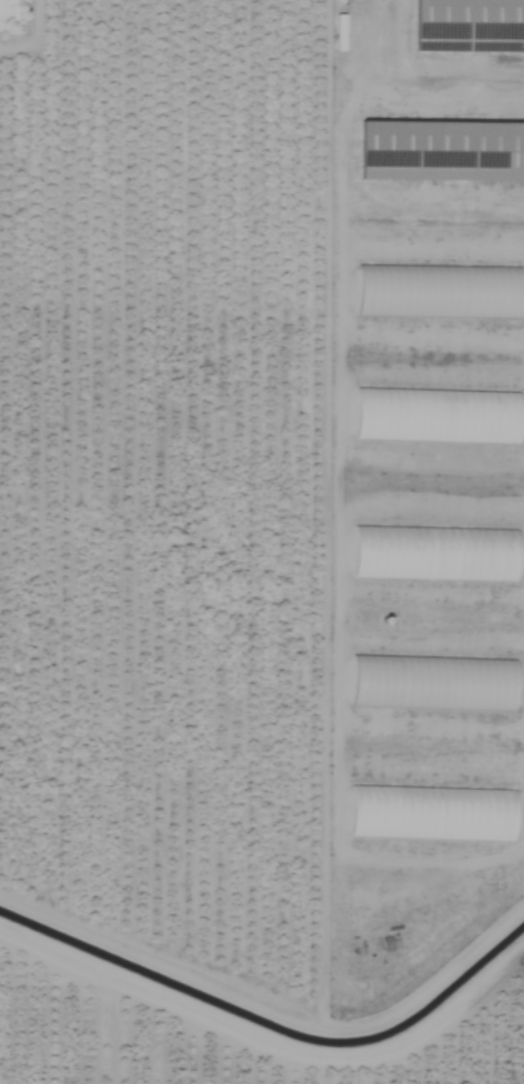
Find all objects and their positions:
building: (468, 26)
building: (440, 151)
building: (436, 416)
building: (434, 553)
crop: (174, 569)
building: (431, 813)

